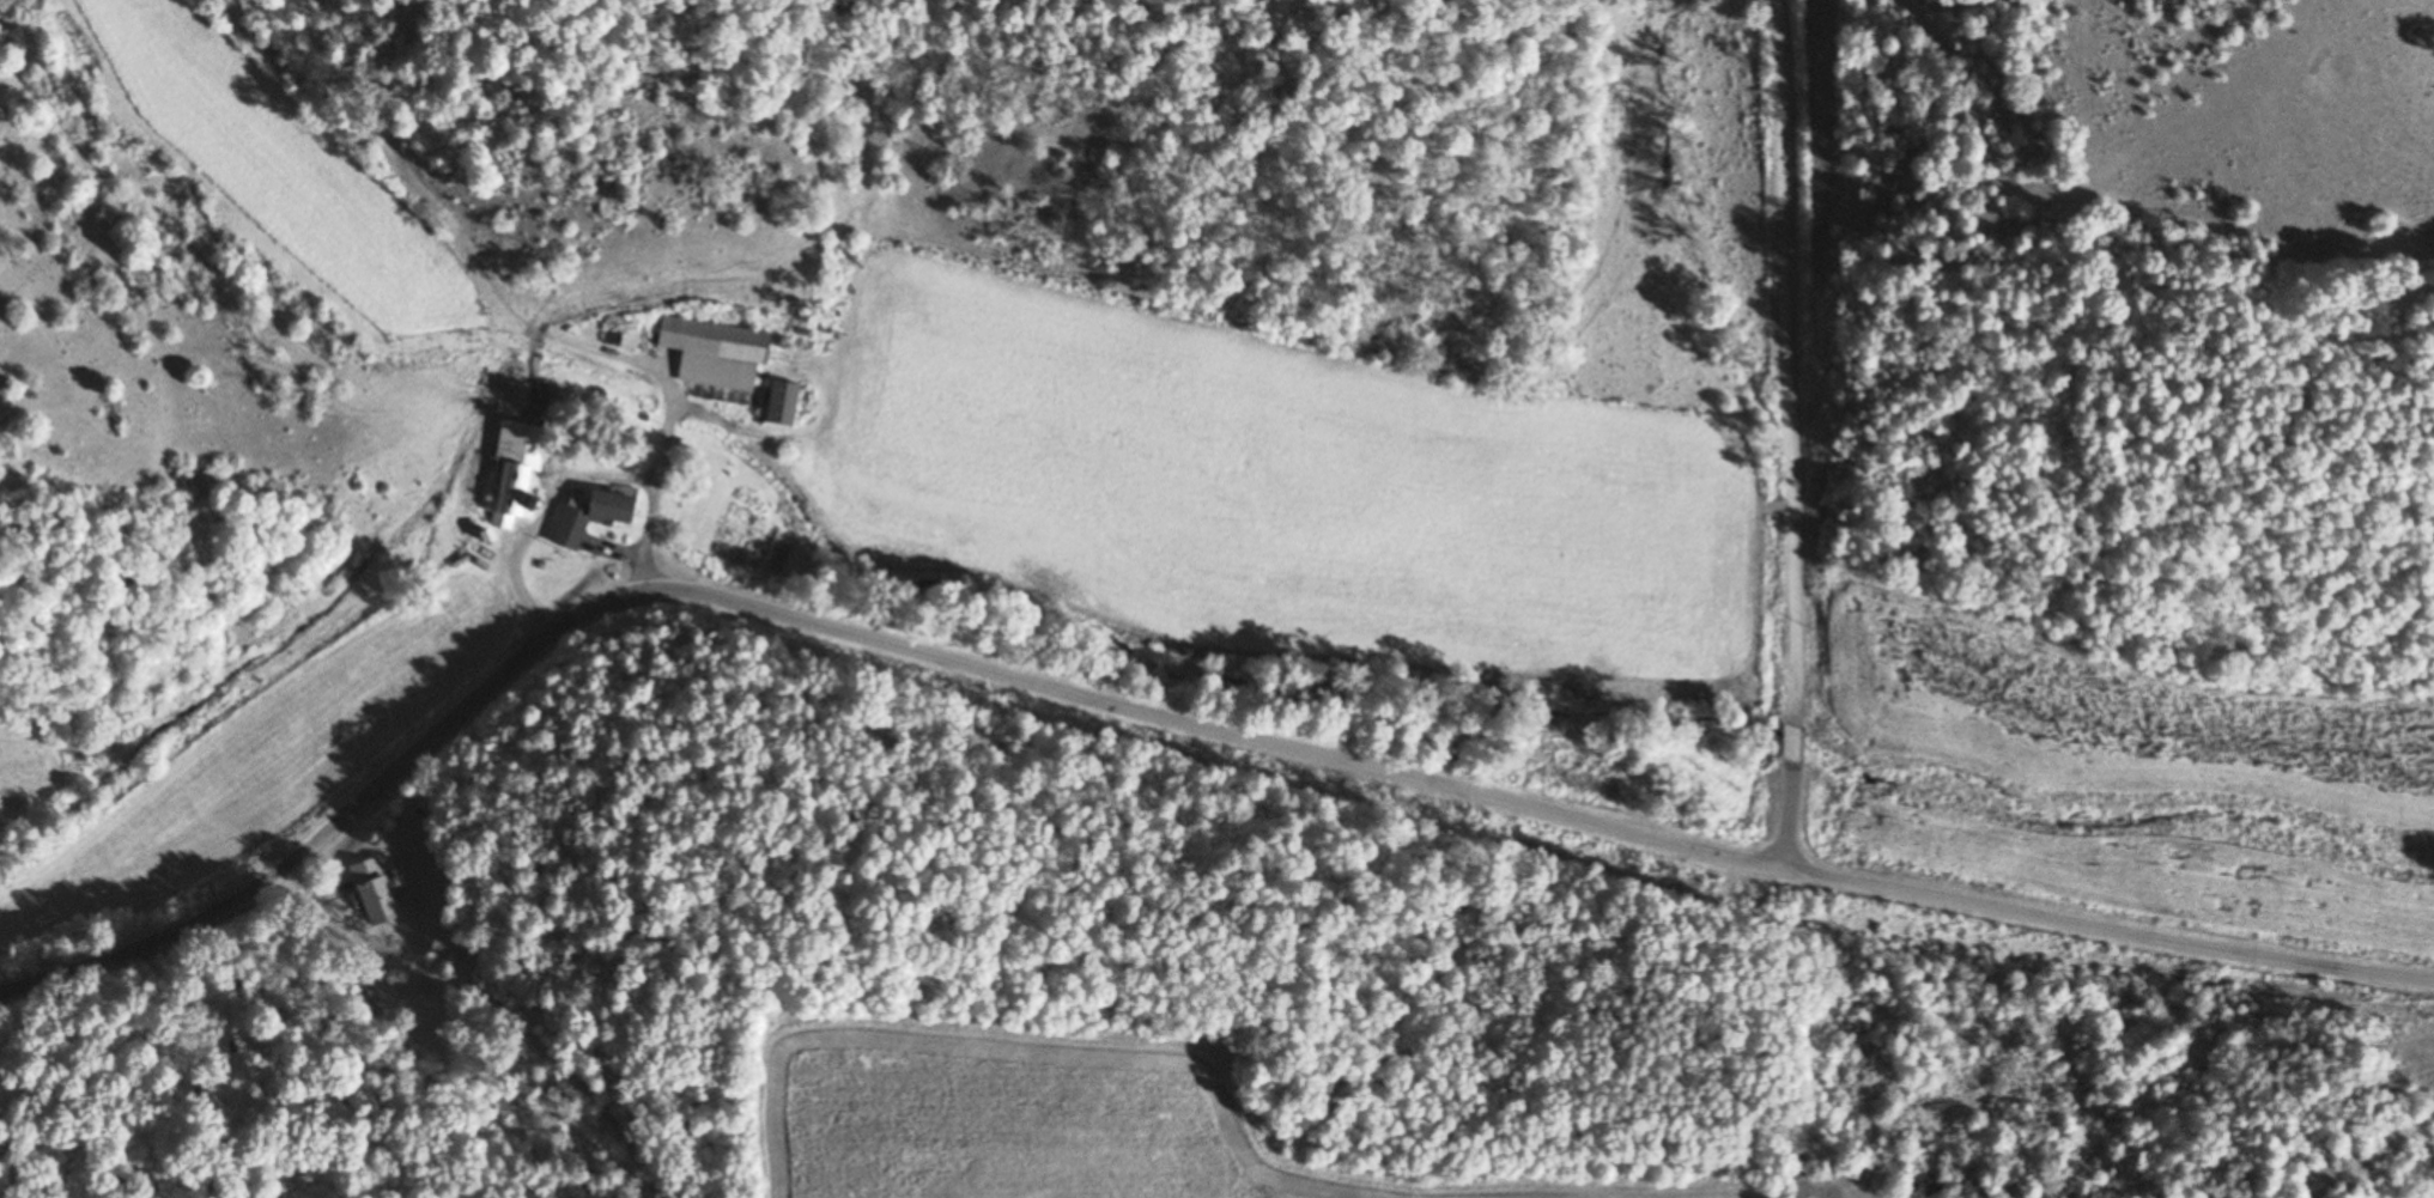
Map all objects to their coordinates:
road: (526, 320)
building: (710, 352)
building: (776, 403)
road: (1786, 433)
building: (511, 473)
road: (572, 475)
crop: (1265, 487)
building: (587, 516)
road: (1161, 707)
crop: (2111, 720)
crop: (18, 777)
building: (374, 892)
crop: (1048, 1121)

